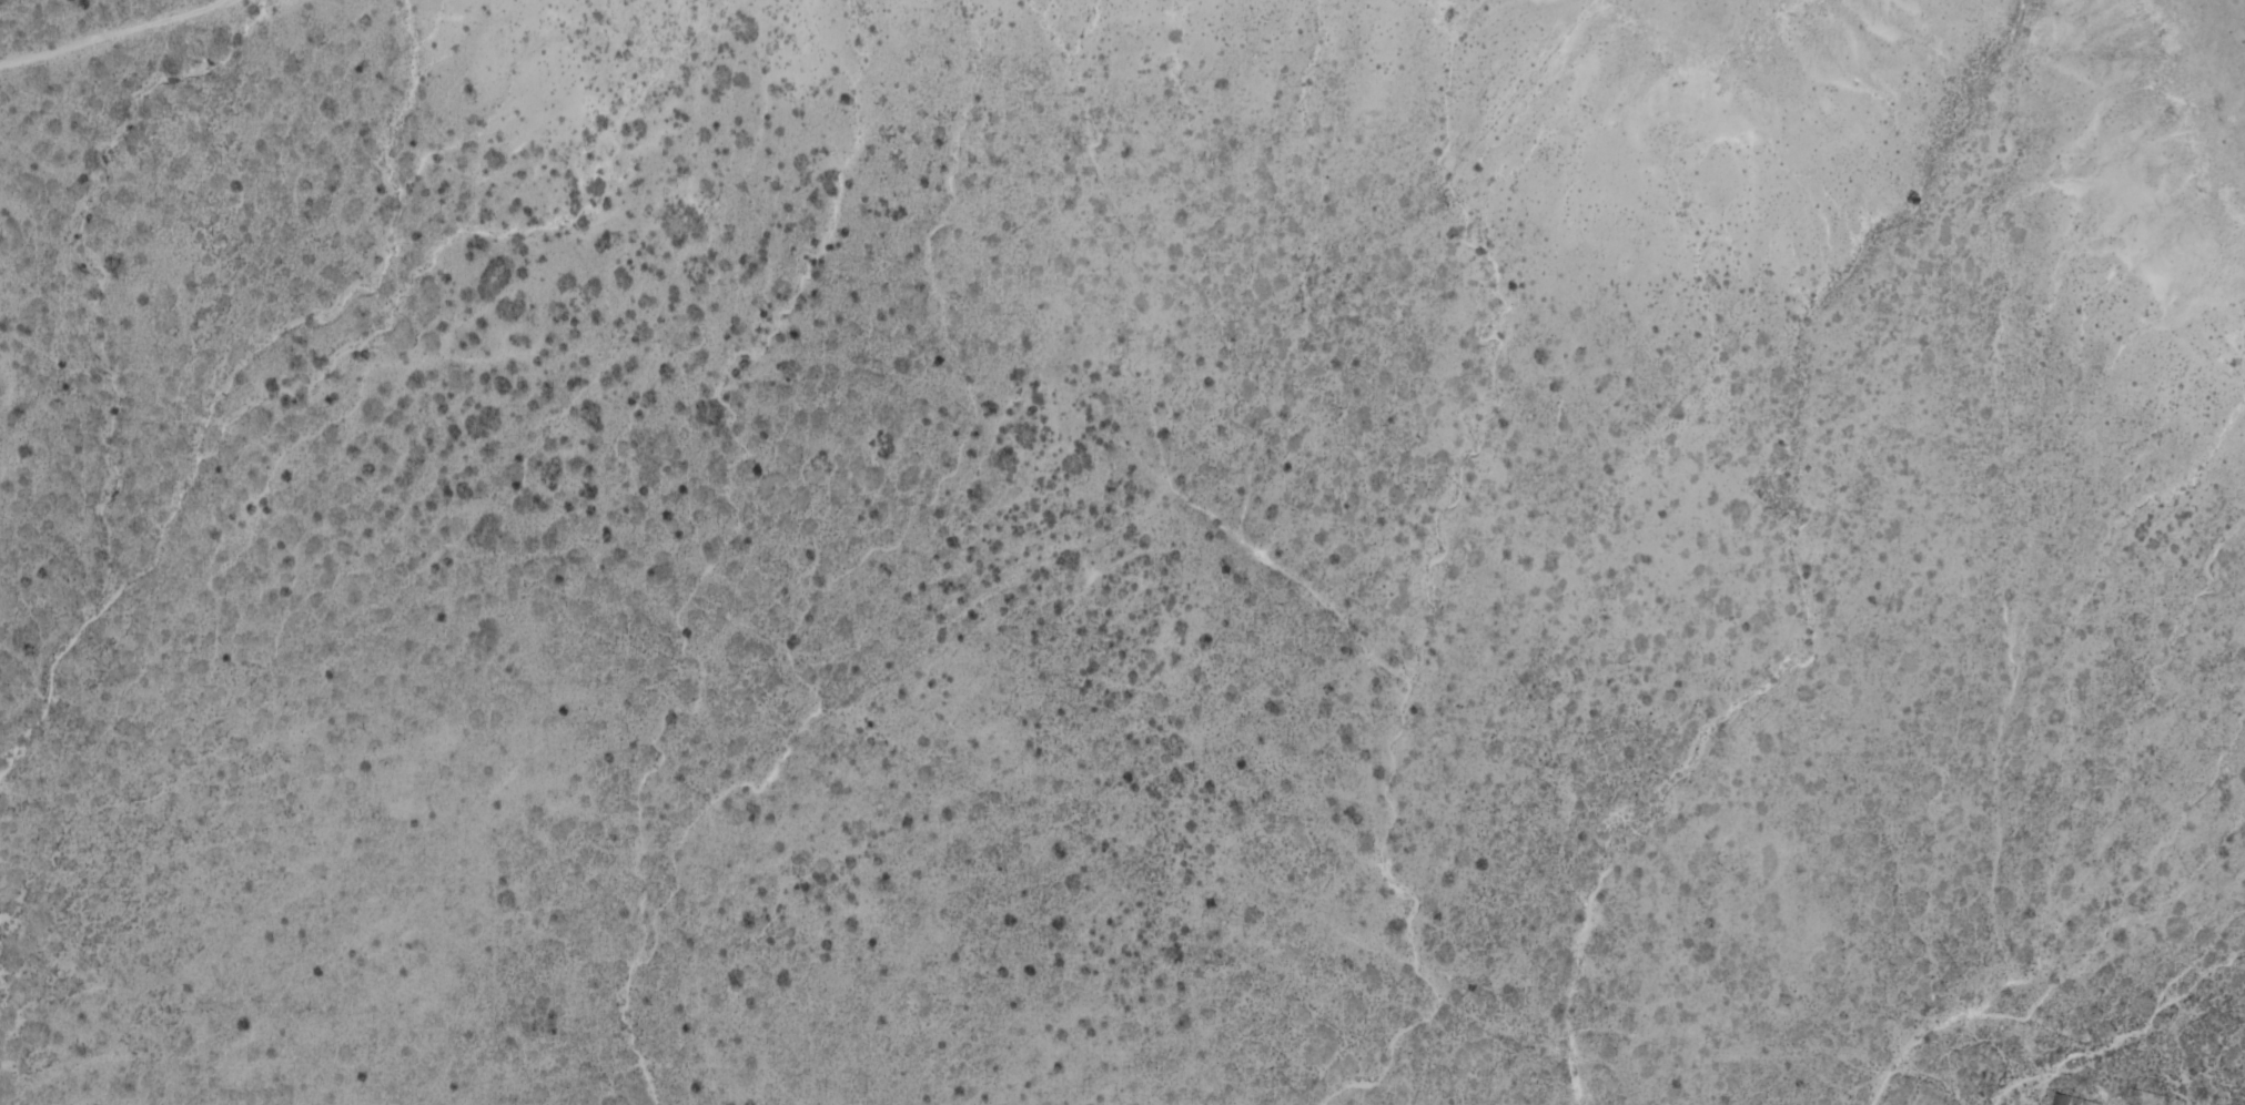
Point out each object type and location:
road: (105, 26)

